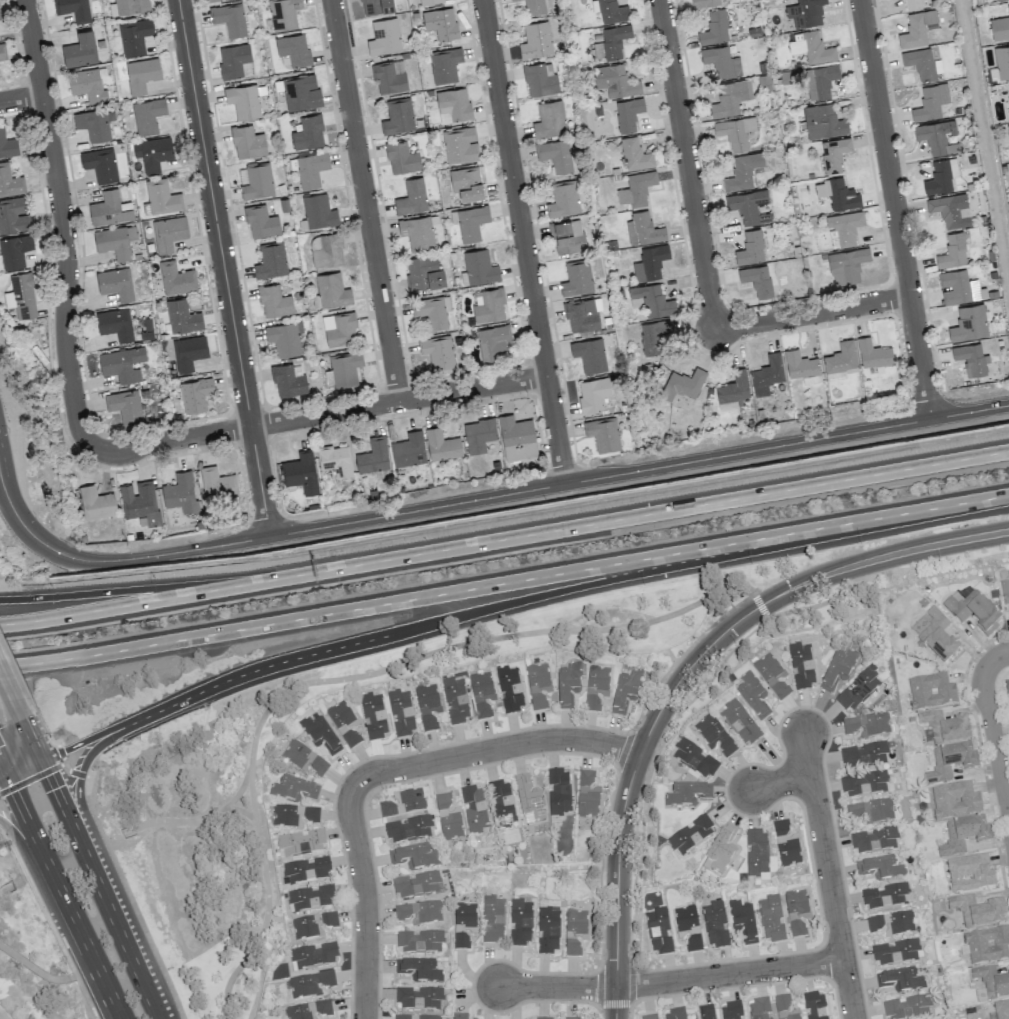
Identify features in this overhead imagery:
building: (210, 0)
building: (513, 0)
building: (429, 1)
building: (704, 3)
building: (915, 3)
building: (131, 6)
building: (376, 6)
building: (534, 7)
building: (73, 9)
building: (612, 11)
building: (805, 12)
building: (284, 14)
building: (0, 19)
building: (229, 19)
building: (441, 23)
building: (714, 28)
building: (918, 28)
building: (1000, 28)
building: (134, 36)
building: (385, 37)
building: (536, 40)
building: (611, 42)
building: (812, 48)
building: (294, 49)
building: (80, 50)
building: (2, 51)
building: (235, 61)
building: (1002, 61)
building: (721, 62)
building: (923, 64)
building: (445, 65)
building: (141, 74)
building: (389, 76)
building: (540, 79)
building: (615, 81)
building: (819, 81)
building: (87, 85)
building: (301, 92)
building: (730, 98)
road: (22, 100)
building: (1008, 100)
building: (243, 101)
building: (931, 102)
building: (453, 104)
building: (628, 114)
building: (147, 115)
building: (398, 116)
building: (549, 119)
building: (822, 121)
building: (94, 123)
building: (1008, 129)
building: (735, 131)
building: (308, 133)
building: (937, 136)
building: (247, 142)
building: (7, 144)
building: (460, 145)
building: (152, 153)
building: (555, 154)
building: (834, 154)
building: (635, 155)
building: (401, 158)
building: (100, 164)
building: (311, 169)
building: (742, 172)
building: (941, 176)
building: (257, 180)
building: (10, 182)
building: (467, 183)
building: (636, 189)
building: (837, 193)
building: (411, 196)
building: (162, 197)
building: (563, 199)
road: (366, 201)
building: (749, 206)
building: (110, 209)
road: (895, 209)
building: (949, 209)
building: (318, 211)
building: (14, 215)
building: (261, 221)
building: (471, 222)
road: (65, 223)
building: (646, 228)
building: (843, 229)
building: (168, 232)
building: (418, 232)
building: (567, 235)
building: (115, 241)
road: (525, 242)
building: (750, 248)
building: (14, 251)
building: (328, 251)
building: (953, 251)
building: (271, 260)
building: (650, 262)
road: (704, 262)
building: (847, 266)
building: (480, 267)
road: (224, 268)
building: (424, 272)
building: (176, 278)
building: (577, 278)
building: (759, 280)
building: (115, 283)
building: (959, 287)
building: (332, 290)
building: (21, 296)
building: (651, 300)
building: (274, 301)
building: (490, 306)
building: (432, 310)
building: (582, 315)
building: (182, 316)
building: (115, 323)
building: (969, 323)
building: (339, 329)
building: (652, 336)
building: (284, 338)
building: (493, 342)
building: (437, 350)
building: (188, 352)
building: (873, 353)
building: (589, 354)
building: (841, 357)
building: (971, 359)
building: (122, 364)
building: (800, 364)
building: (345, 369)
building: (767, 374)
building: (288, 381)
building: (683, 384)
building: (733, 388)
building: (593, 393)
building: (195, 394)
building: (124, 406)
road: (315, 417)
building: (479, 434)
building: (603, 434)
building: (517, 438)
building: (441, 444)
building: (408, 449)
building: (373, 456)
building: (335, 460)
building: (300, 472)
building: (217, 483)
building: (180, 492)
road: (485, 498)
building: (139, 501)
building: (96, 502)
road: (644, 515)
road: (883, 572)
road: (504, 582)
road: (139, 588)
building: (1005, 591)
road: (139, 603)
road: (760, 605)
building: (972, 608)
building: (938, 637)
road: (365, 640)
road: (996, 658)
road: (402, 663)
building: (801, 666)
building: (838, 669)
road: (685, 672)
building: (771, 676)
building: (538, 684)
building: (567, 684)
road: (6, 685)
building: (1006, 686)
building: (509, 689)
building: (858, 689)
building: (625, 691)
building: (931, 691)
building: (481, 694)
building: (752, 695)
building: (454, 700)
building: (427, 706)
road: (17, 709)
building: (400, 713)
building: (373, 715)
building: (343, 723)
building: (740, 723)
building: (867, 724)
building: (944, 727)
building: (319, 733)
road: (1001, 733)
building: (714, 735)
road: (995, 743)
road: (493, 748)
building: (863, 755)
building: (695, 758)
building: (304, 759)
traffic signals: (44, 762)
building: (948, 762)
road: (648, 770)
park: (178, 778)
traffic signals: (9, 779)
road: (4, 780)
road: (780, 782)
building: (864, 783)
building: (294, 789)
building: (558, 791)
building: (688, 794)
building: (587, 795)
road: (251, 796)
building: (528, 799)
building: (955, 800)
building: (502, 802)
building: (403, 803)
road: (82, 807)
road: (1008, 808)
building: (474, 809)
building: (870, 811)
building: (294, 815)
building: (448, 818)
building: (408, 829)
building: (690, 835)
building: (961, 835)
building: (874, 840)
building: (301, 842)
building: (785, 845)
building: (720, 850)
building: (756, 852)
building: (414, 856)
road: (91, 867)
building: (880, 868)
building: (305, 870)
building: (969, 873)
road: (828, 875)
building: (417, 884)
road: (6, 888)
road: (57, 889)
building: (886, 895)
building: (311, 897)
road: (49, 900)
road: (366, 903)
road: (266, 908)
building: (420, 911)
building: (796, 911)
building: (977, 911)
building: (491, 918)
building: (685, 918)
building: (771, 918)
building: (743, 921)
building: (520, 922)
building: (891, 922)
building: (463, 924)
building: (715, 924)
building: (313, 925)
building: (547, 929)
building: (659, 930)
building: (574, 931)
building: (419, 941)
building: (693, 943)
building: (987, 944)
building: (895, 951)
building: (313, 955)
park: (31, 957)
road: (36, 969)
building: (419, 970)
road: (728, 974)
building: (900, 979)
building: (991, 982)
road: (630, 983)
building: (309, 984)
road: (557, 987)
road: (599, 987)
road: (84, 996)
building: (419, 997)
road: (614, 1004)
building: (814, 1005)
building: (906, 1007)
building: (784, 1008)
building: (759, 1009)
building: (308, 1010)
building: (731, 1010)
building: (1001, 1010)
road: (629, 1011)
building: (706, 1012)
building: (674, 1014)
building: (458, 1015)
road: (1, 1017)
building: (415, 1017)
building: (649, 1017)
building: (542, 1018)
building: (574, 1018)

